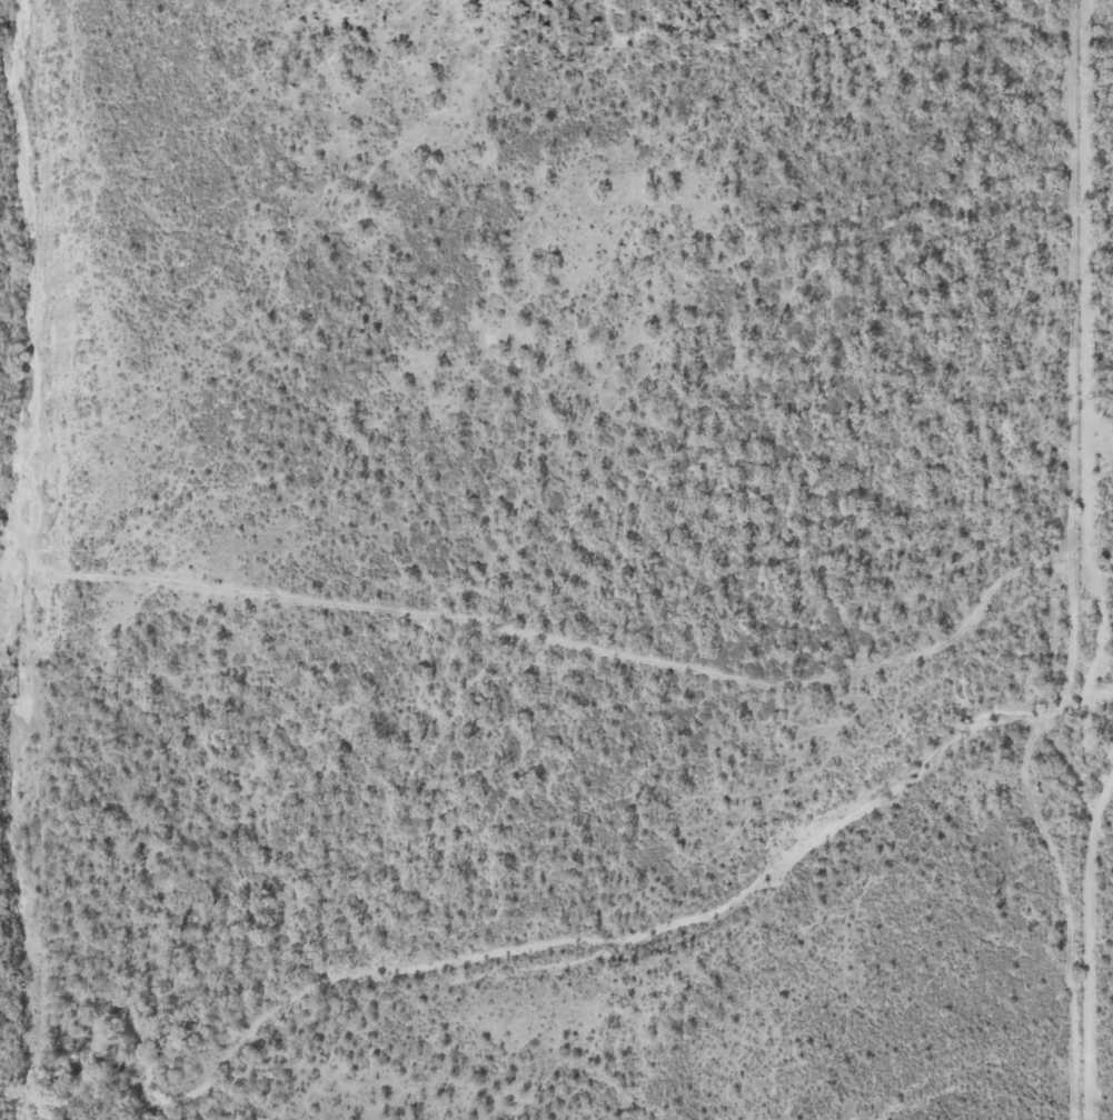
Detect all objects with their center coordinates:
road: (547, 633)

